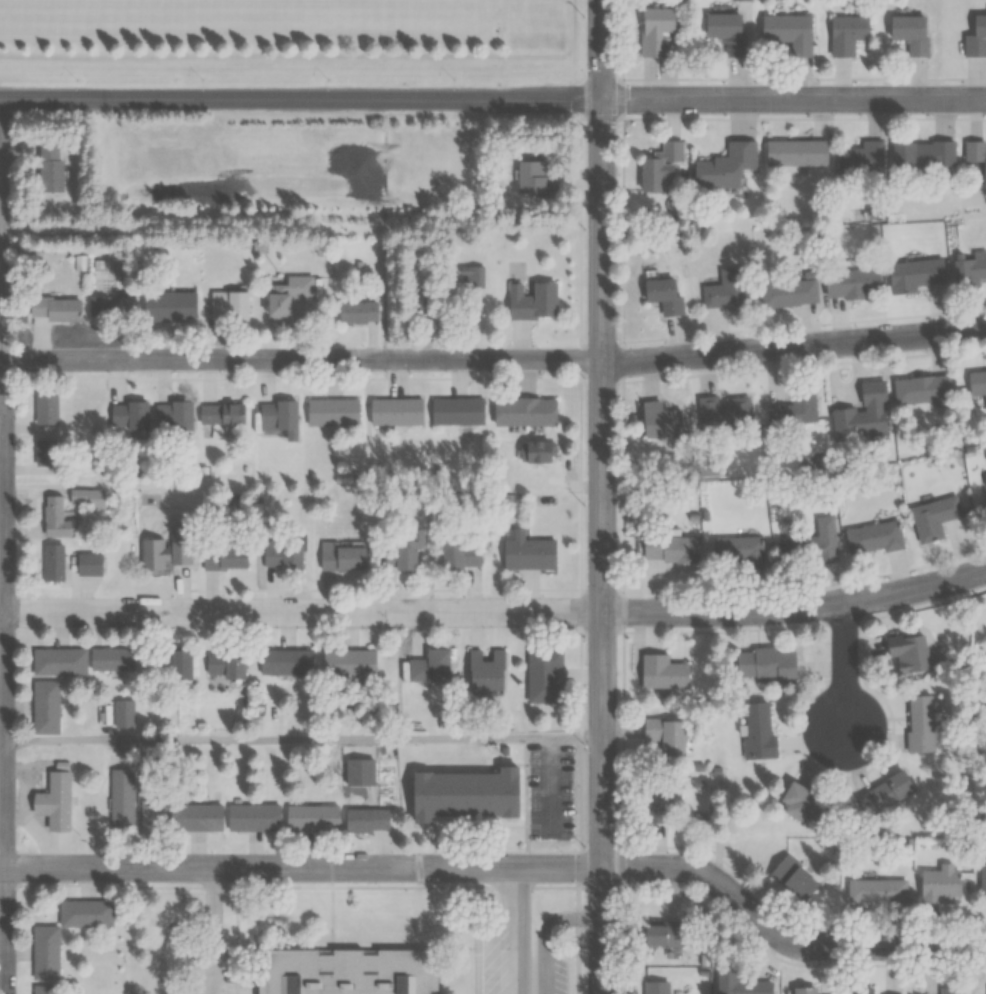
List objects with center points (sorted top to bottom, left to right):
park: (191, 3)
park: (313, 5)
park: (435, 5)
street lamp: (585, 14)
building: (654, 31)
building: (726, 31)
building: (910, 32)
building: (846, 34)
building: (785, 35)
building: (976, 37)
road: (300, 99)
road: (793, 100)
street lamp: (586, 124)
building: (795, 152)
building: (922, 154)
building: (976, 155)
building: (861, 159)
building: (50, 166)
building: (658, 166)
building: (724, 166)
building: (539, 177)
building: (971, 267)
building: (914, 274)
building: (472, 276)
building: (852, 283)
building: (726, 290)
building: (789, 293)
building: (663, 295)
building: (286, 297)
building: (532, 301)
building: (100, 305)
building: (229, 305)
building: (171, 306)
building: (55, 308)
building: (356, 311)
road: (493, 360)
street lamp: (586, 372)
building: (977, 384)
building: (923, 390)
building: (796, 406)
building: (46, 408)
building: (727, 410)
building: (395, 411)
building: (456, 411)
building: (523, 412)
building: (222, 414)
building: (862, 414)
building: (128, 415)
building: (173, 416)
building: (328, 416)
building: (278, 417)
building: (659, 419)
building: (536, 451)
building: (46, 453)
building: (984, 484)
building: (89, 497)
road: (602, 497)
building: (933, 516)
building: (55, 517)
building: (872, 537)
building: (811, 543)
building: (180, 544)
road: (2, 545)
building: (668, 548)
building: (406, 551)
building: (531, 551)
building: (737, 551)
building: (282, 552)
building: (153, 554)
building: (460, 555)
building: (340, 556)
building: (223, 557)
building: (53, 562)
building: (89, 563)
road: (795, 608)
road: (302, 611)
street lamp: (586, 637)
building: (907, 652)
building: (111, 659)
building: (58, 661)
building: (284, 662)
building: (350, 663)
building: (763, 663)
building: (225, 664)
building: (430, 666)
building: (179, 668)
building: (485, 672)
building: (661, 672)
building: (543, 675)
road: (845, 675)
building: (45, 707)
building: (124, 713)
building: (919, 723)
building: (756, 731)
building: (664, 735)
road: (302, 737)
building: (463, 790)
building: (884, 791)
building: (660, 795)
building: (120, 798)
building: (53, 800)
building: (799, 803)
building: (151, 813)
building: (253, 817)
building: (195, 818)
building: (310, 818)
building: (366, 820)
street lamp: (585, 846)
road: (505, 869)
building: (792, 878)
building: (982, 882)
building: (939, 885)
building: (876, 891)
road: (210, 931)
road: (518, 931)
road: (547, 931)
building: (661, 933)
street lamp: (585, 946)
building: (45, 953)
building: (345, 970)
building: (739, 983)
building: (656, 987)
building: (948, 988)
building: (46, 989)
building: (802, 990)
building: (860, 990)

